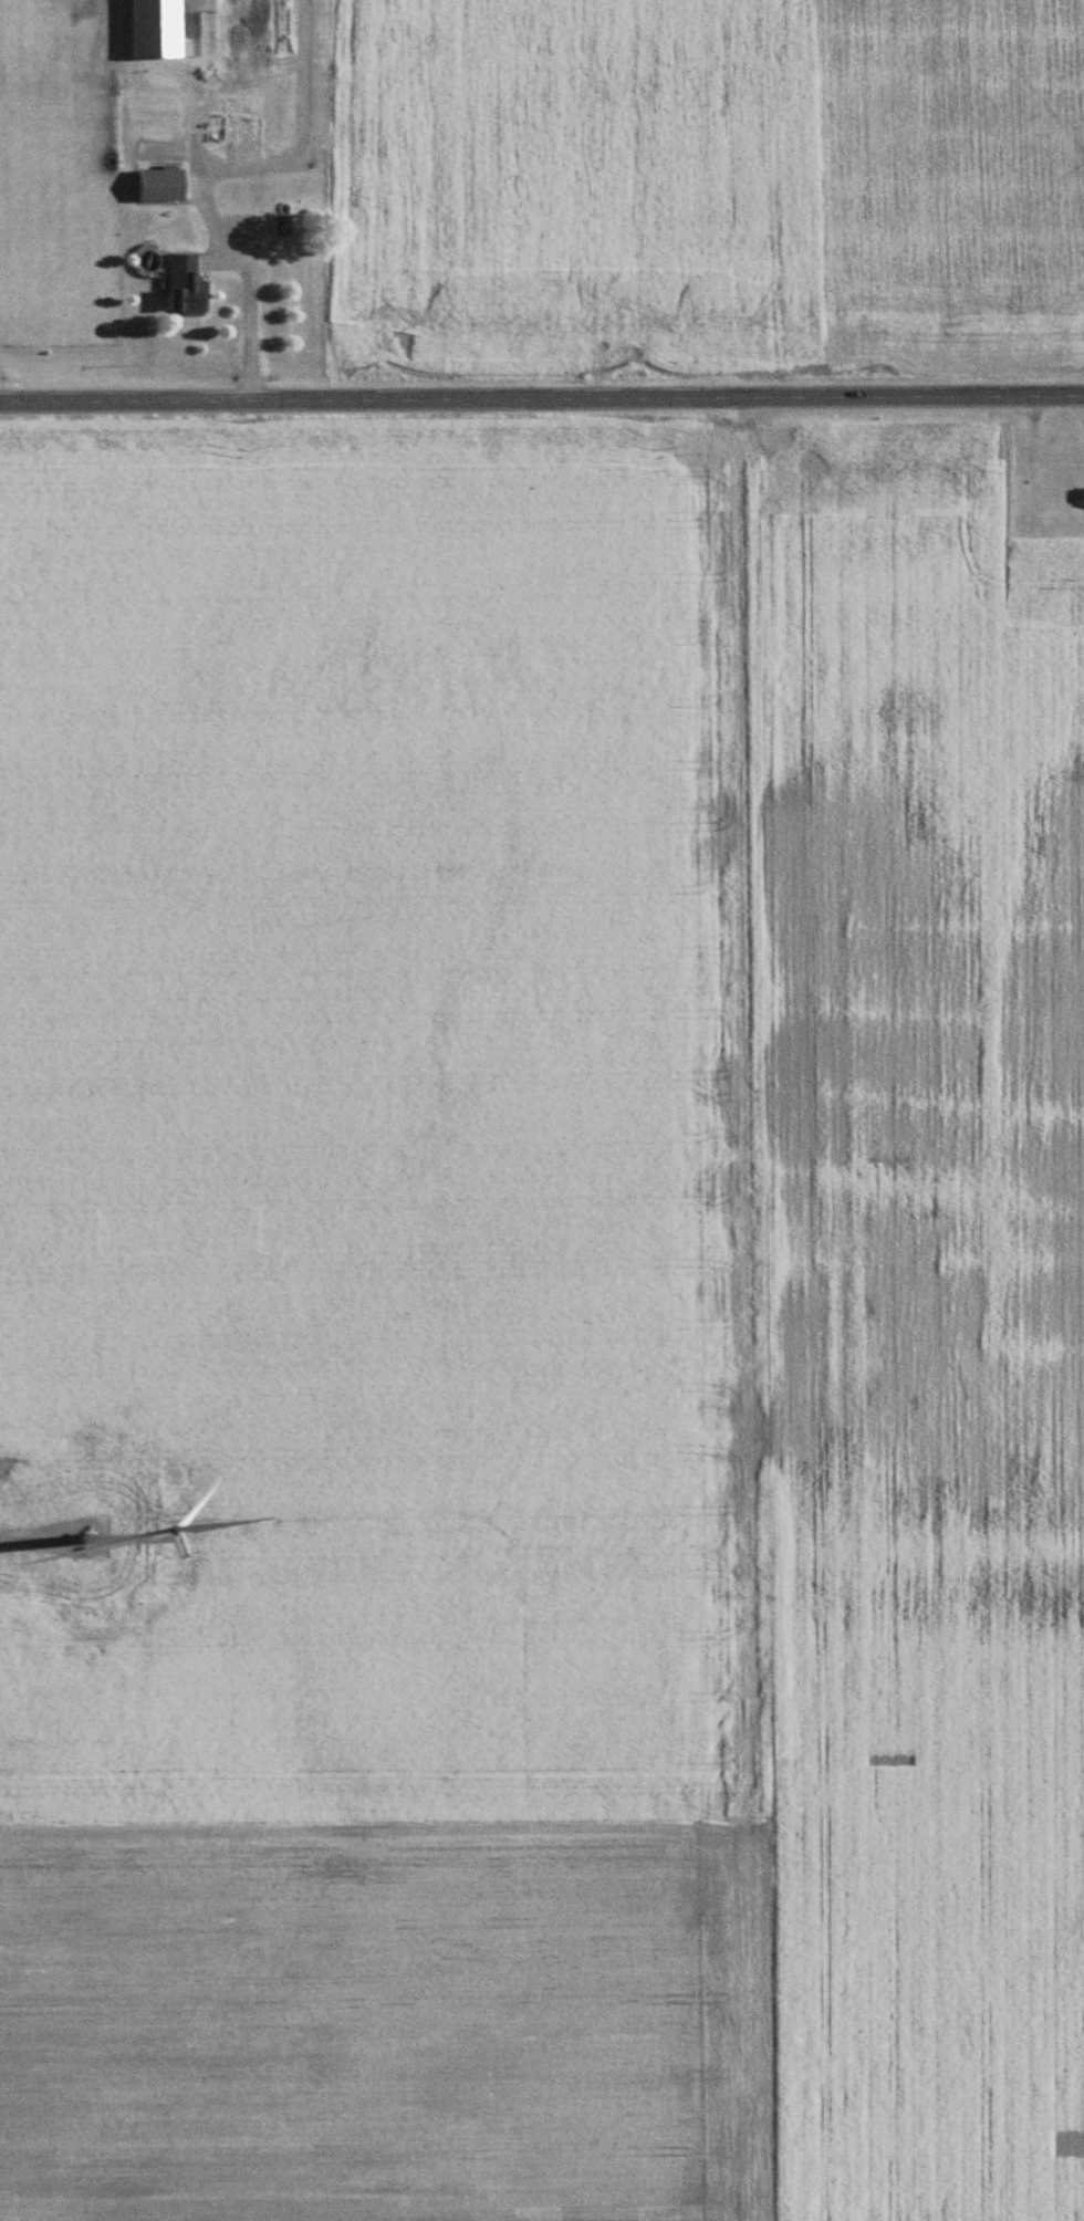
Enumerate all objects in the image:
building: (263, 22)
building: (216, 128)
road: (241, 272)
building: (188, 285)
road: (542, 398)
wind turbine: (33, 1519)

